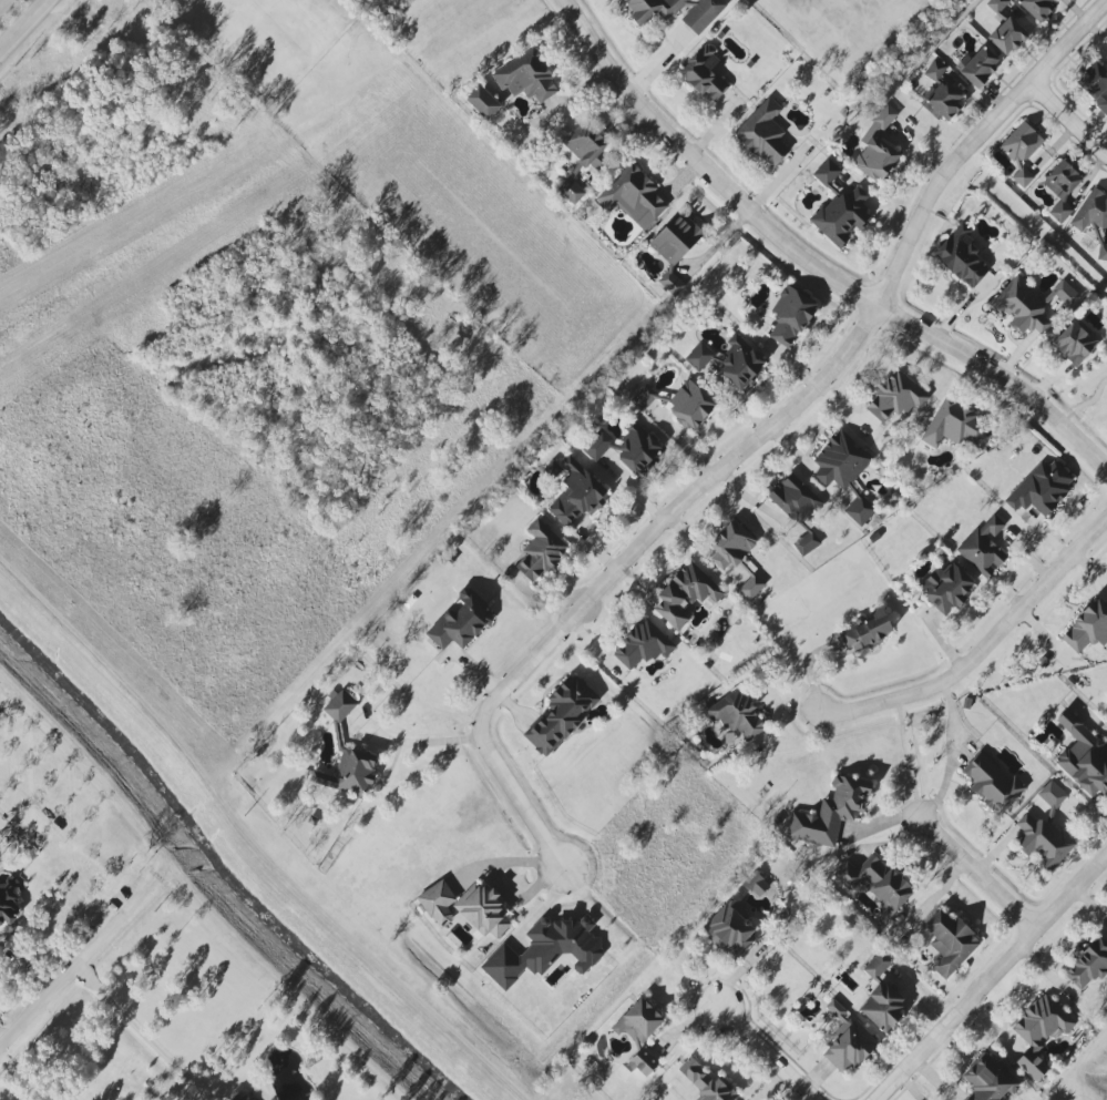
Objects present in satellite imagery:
road: (2, 2)
building: (996, 4)
building: (1036, 8)
building: (699, 16)
road: (24, 26)
building: (1006, 35)
building: (980, 67)
building: (704, 73)
building: (526, 77)
building: (1094, 84)
building: (940, 91)
building: (482, 102)
building: (881, 120)
road: (1069, 129)
building: (763, 133)
building: (586, 145)
building: (1022, 151)
building: (875, 159)
building: (827, 172)
building: (571, 187)
building: (1060, 189)
building: (634, 197)
building: (841, 216)
building: (1094, 218)
building: (675, 249)
building: (962, 257)
road: (810, 265)
building: (1033, 305)
building: (790, 316)
building: (1076, 342)
building: (699, 356)
building: (741, 363)
building: (643, 398)
building: (894, 398)
building: (689, 405)
building: (954, 425)
road: (680, 442)
building: (597, 444)
road: (757, 445)
building: (637, 449)
building: (839, 461)
building: (552, 468)
building: (1041, 489)
building: (576, 493)
building: (793, 499)
building: (859, 510)
building: (803, 540)
building: (731, 544)
building: (983, 547)
building: (540, 550)
building: (751, 588)
building: (946, 588)
building: (685, 594)
building: (460, 621)
building: (1087, 628)
building: (867, 630)
building: (643, 644)
road: (986, 649)
building: (339, 713)
building: (736, 714)
building: (560, 716)
road: (417, 742)
road: (952, 754)
building: (1083, 756)
building: (348, 773)
building: (992, 784)
building: (1052, 795)
building: (830, 813)
building: (1041, 839)
road: (980, 870)
building: (877, 883)
building: (757, 886)
building: (8, 902)
building: (438, 903)
building: (484, 911)
building: (730, 929)
building: (950, 943)
building: (546, 950)
road: (93, 957)
building: (1088, 965)
road: (994, 978)
building: (882, 995)
building: (638, 1022)
building: (1039, 1032)
building: (847, 1041)
road: (2, 1048)
road: (773, 1053)
road: (162, 1056)
building: (643, 1062)
road: (20, 1079)
building: (988, 1079)
building: (707, 1082)
building: (240, 1097)

